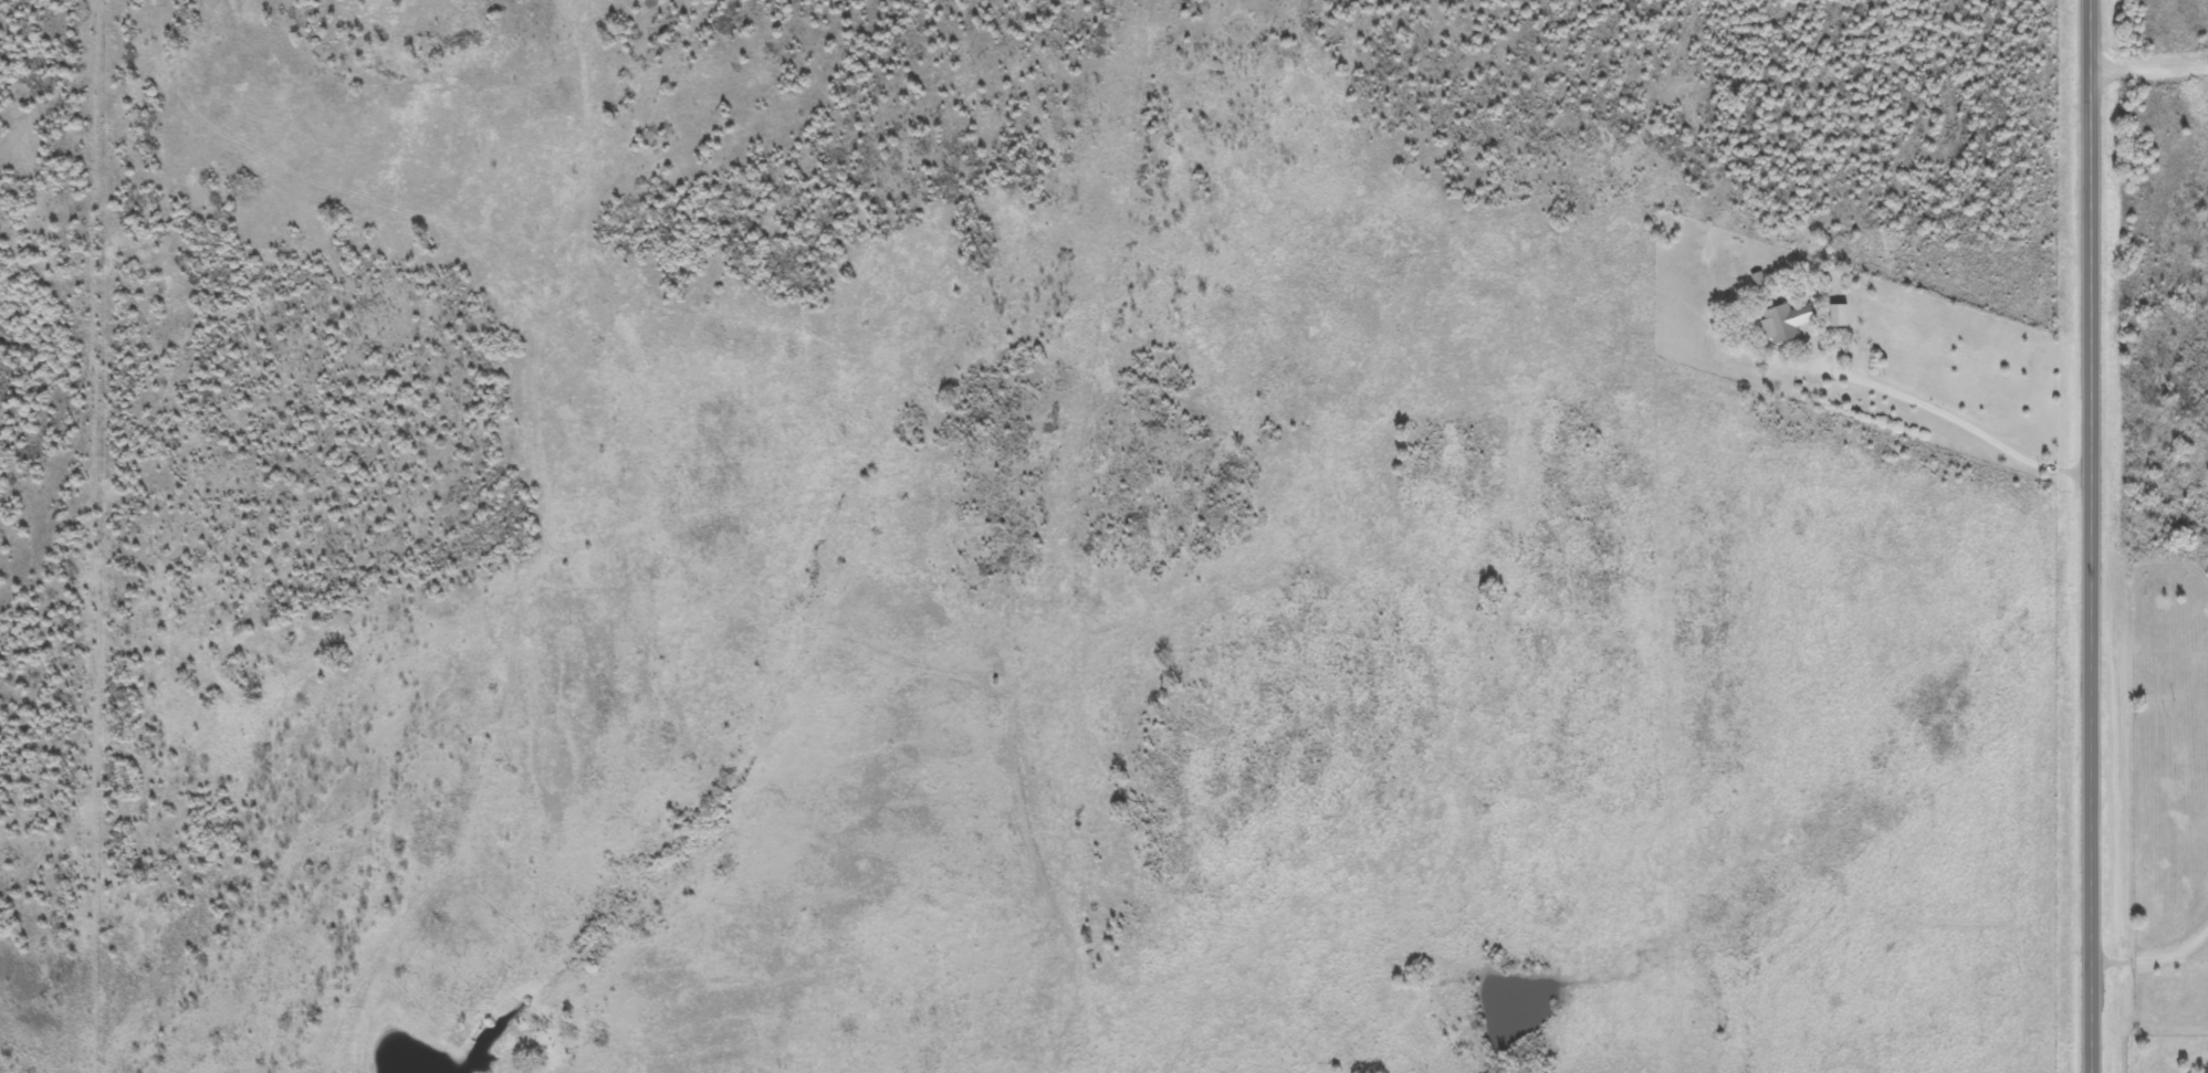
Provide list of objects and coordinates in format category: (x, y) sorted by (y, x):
building: (1840, 315)
building: (1785, 322)
road: (2092, 536)

